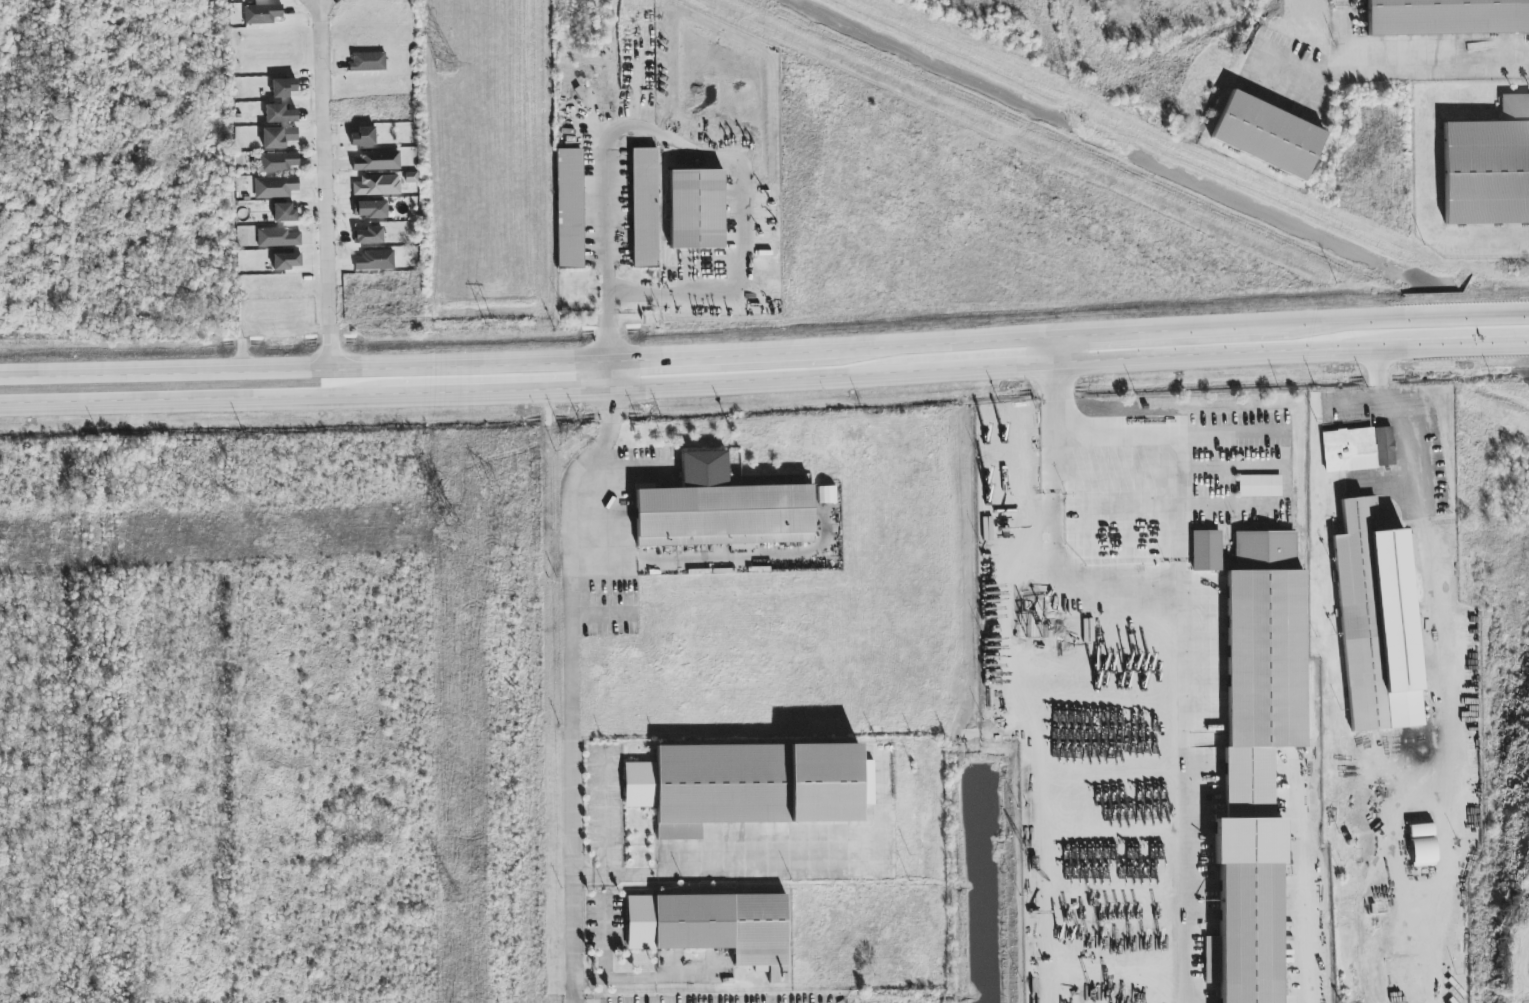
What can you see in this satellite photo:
building: (262, 14)
building: (1446, 17)
building: (367, 61)
power tower: (445, 66)
road: (1396, 70)
building: (283, 88)
building: (280, 114)
building: (1267, 135)
building: (278, 137)
building: (363, 137)
road: (692, 150)
building: (377, 161)
building: (278, 162)
building: (1488, 167)
river: (1168, 168)
road: (323, 184)
building: (377, 186)
building: (275, 187)
building: (644, 208)
building: (370, 209)
building: (569, 209)
building: (696, 209)
building: (284, 212)
building: (368, 235)
building: (277, 238)
building: (375, 260)
building: (286, 261)
road: (1466, 315)
road: (1468, 345)
road: (702, 354)
road: (609, 373)
road: (703, 382)
road: (1112, 438)
road: (1244, 439)
building: (1357, 449)
building: (1260, 486)
building: (725, 508)
power tower: (453, 534)
building: (1206, 550)
building: (1376, 621)
road: (1444, 665)
road: (570, 687)
building: (1256, 760)
building: (749, 785)
power tower: (452, 896)
building: (714, 927)
road: (603, 939)
road: (652, 977)

